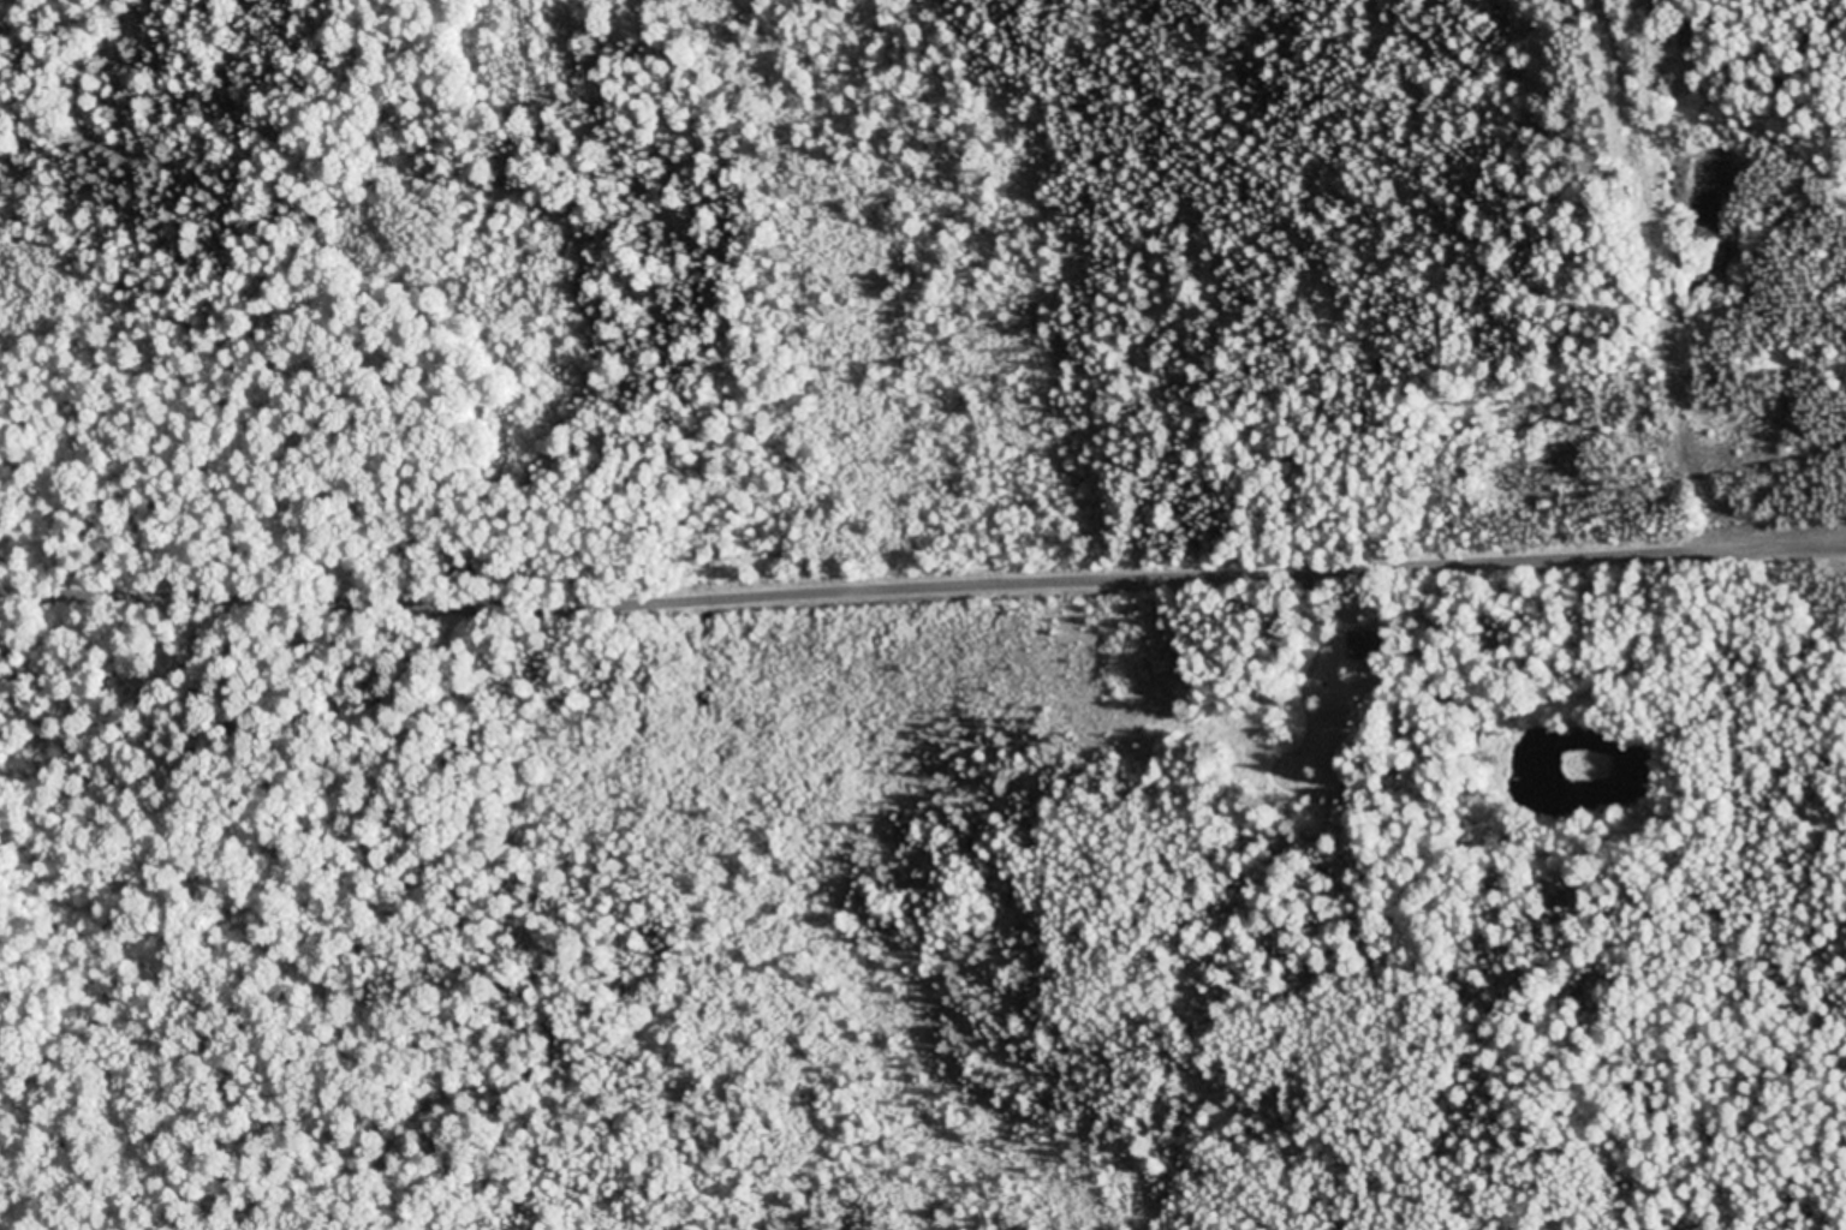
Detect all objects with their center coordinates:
road: (1668, 276)
road: (923, 592)

